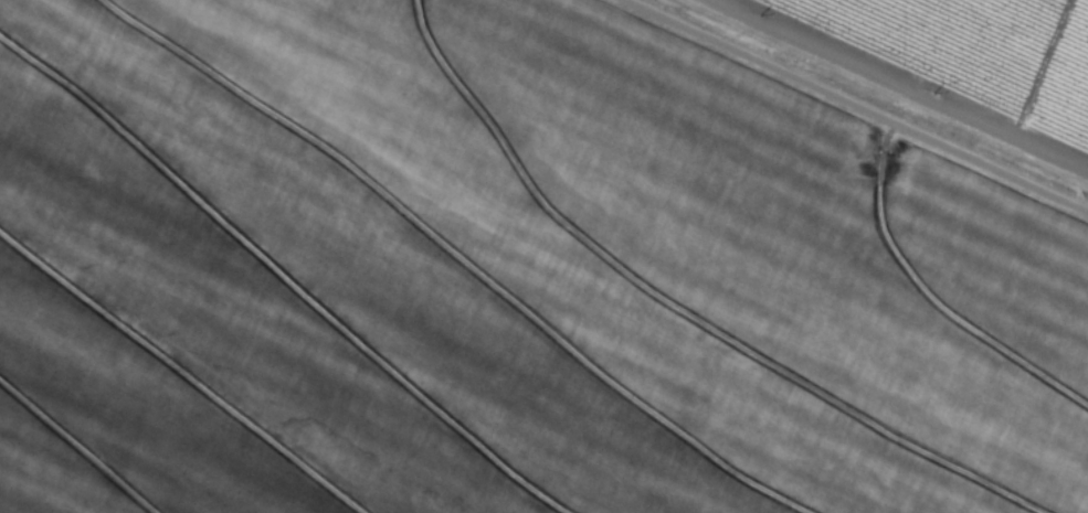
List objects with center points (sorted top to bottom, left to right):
crop: (543, 256)

